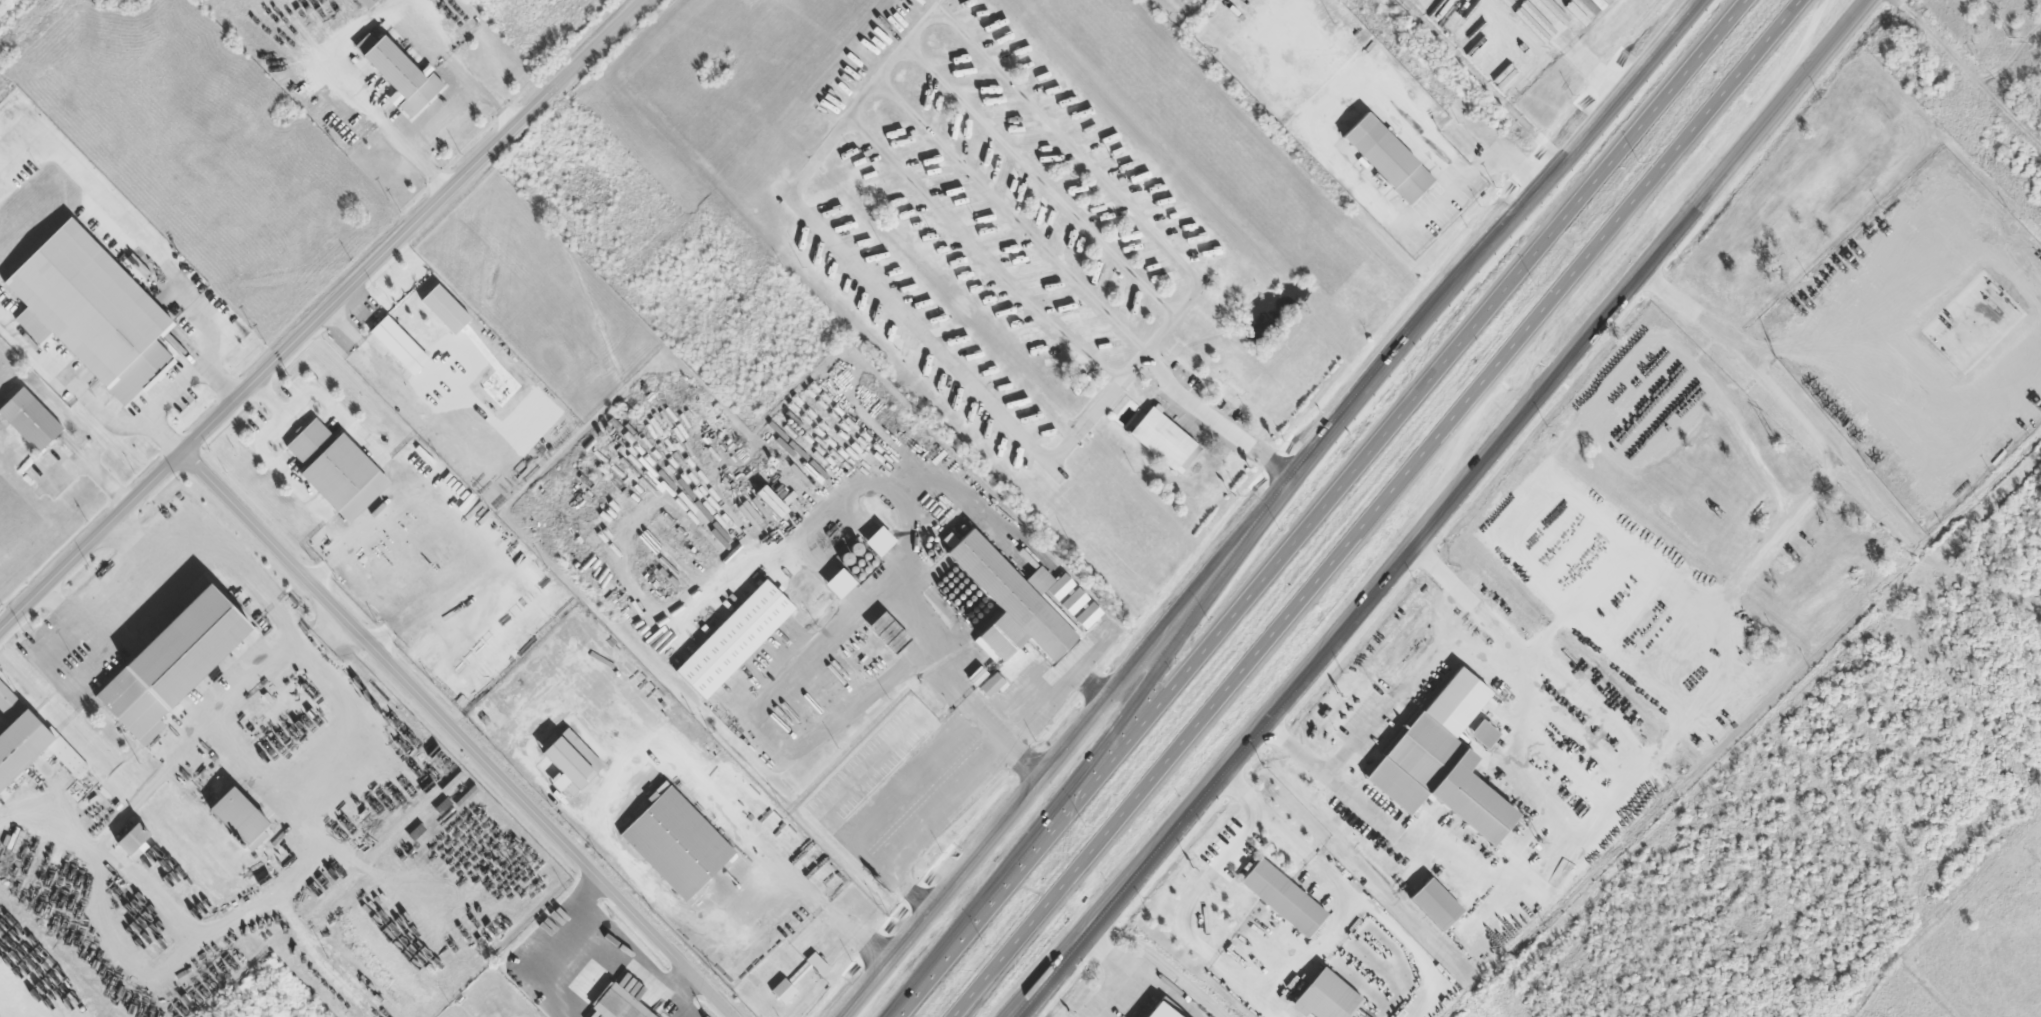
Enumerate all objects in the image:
building: (364, 3)
building: (1175, 6)
power tower: (2010, 39)
building: (397, 74)
road: (1657, 107)
road: (1700, 119)
building: (1386, 159)
road: (418, 227)
road: (1629, 249)
building: (87, 302)
building: (443, 309)
building: (397, 345)
building: (31, 420)
building: (1163, 438)
power tower: (1774, 441)
building: (335, 470)
building: (770, 501)
road: (1265, 505)
road: (1446, 506)
building: (877, 541)
road: (93, 542)
building: (837, 583)
building: (1014, 600)
building: (1074, 601)
building: (1088, 615)
road: (1238, 615)
road: (1278, 627)
building: (890, 633)
building: (734, 637)
building: (189, 648)
building: (992, 686)
road: (1147, 695)
road: (468, 734)
building: (1480, 734)
building: (20, 745)
building: (69, 760)
building: (569, 761)
building: (1441, 761)
building: (241, 818)
building: (129, 839)
power tower: (1537, 841)
building: (677, 844)
building: (1284, 898)
building: (1437, 904)
road: (1087, 934)
building: (817, 964)
building: (782, 991)
building: (1324, 997)
building: (617, 1004)
building: (1159, 1011)

